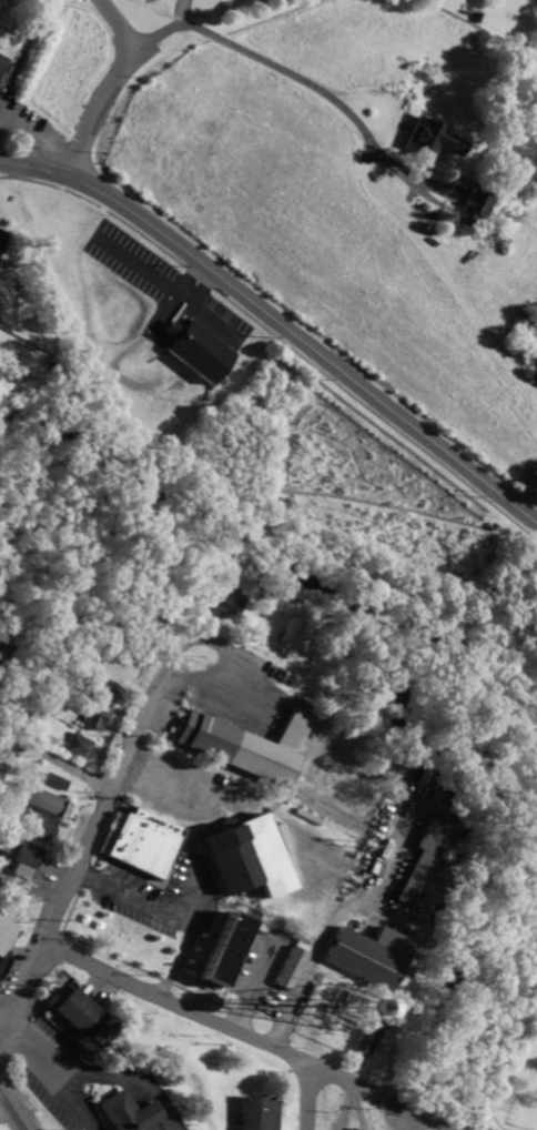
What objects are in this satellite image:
road: (24, 52)
building: (4, 67)
gas station: (4, 67)
road: (285, 71)
road: (113, 87)
road: (36, 133)
building: (434, 137)
building: (476, 205)
road: (278, 320)
road: (278, 337)
building: (201, 351)
road: (277, 488)
building: (230, 601)
building: (298, 635)
road: (239, 649)
road: (211, 685)
building: (97, 717)
road: (444, 720)
building: (251, 744)
building: (80, 745)
road: (57, 761)
building: (58, 780)
building: (47, 801)
building: (43, 824)
road: (94, 834)
building: (146, 841)
building: (251, 856)
building: (428, 858)
building: (26, 861)
road: (186, 896)
road: (136, 898)
road: (332, 926)
building: (4, 931)
building: (227, 948)
building: (372, 955)
building: (2, 960)
road: (180, 960)
building: (292, 967)
road: (257, 1005)
building: (75, 1012)
building: (101, 1030)
road: (246, 1033)
building: (369, 1037)
road: (33, 1048)
road: (102, 1071)
road: (311, 1096)
railway: (12, 1109)
building: (130, 1110)
building: (259, 1113)

